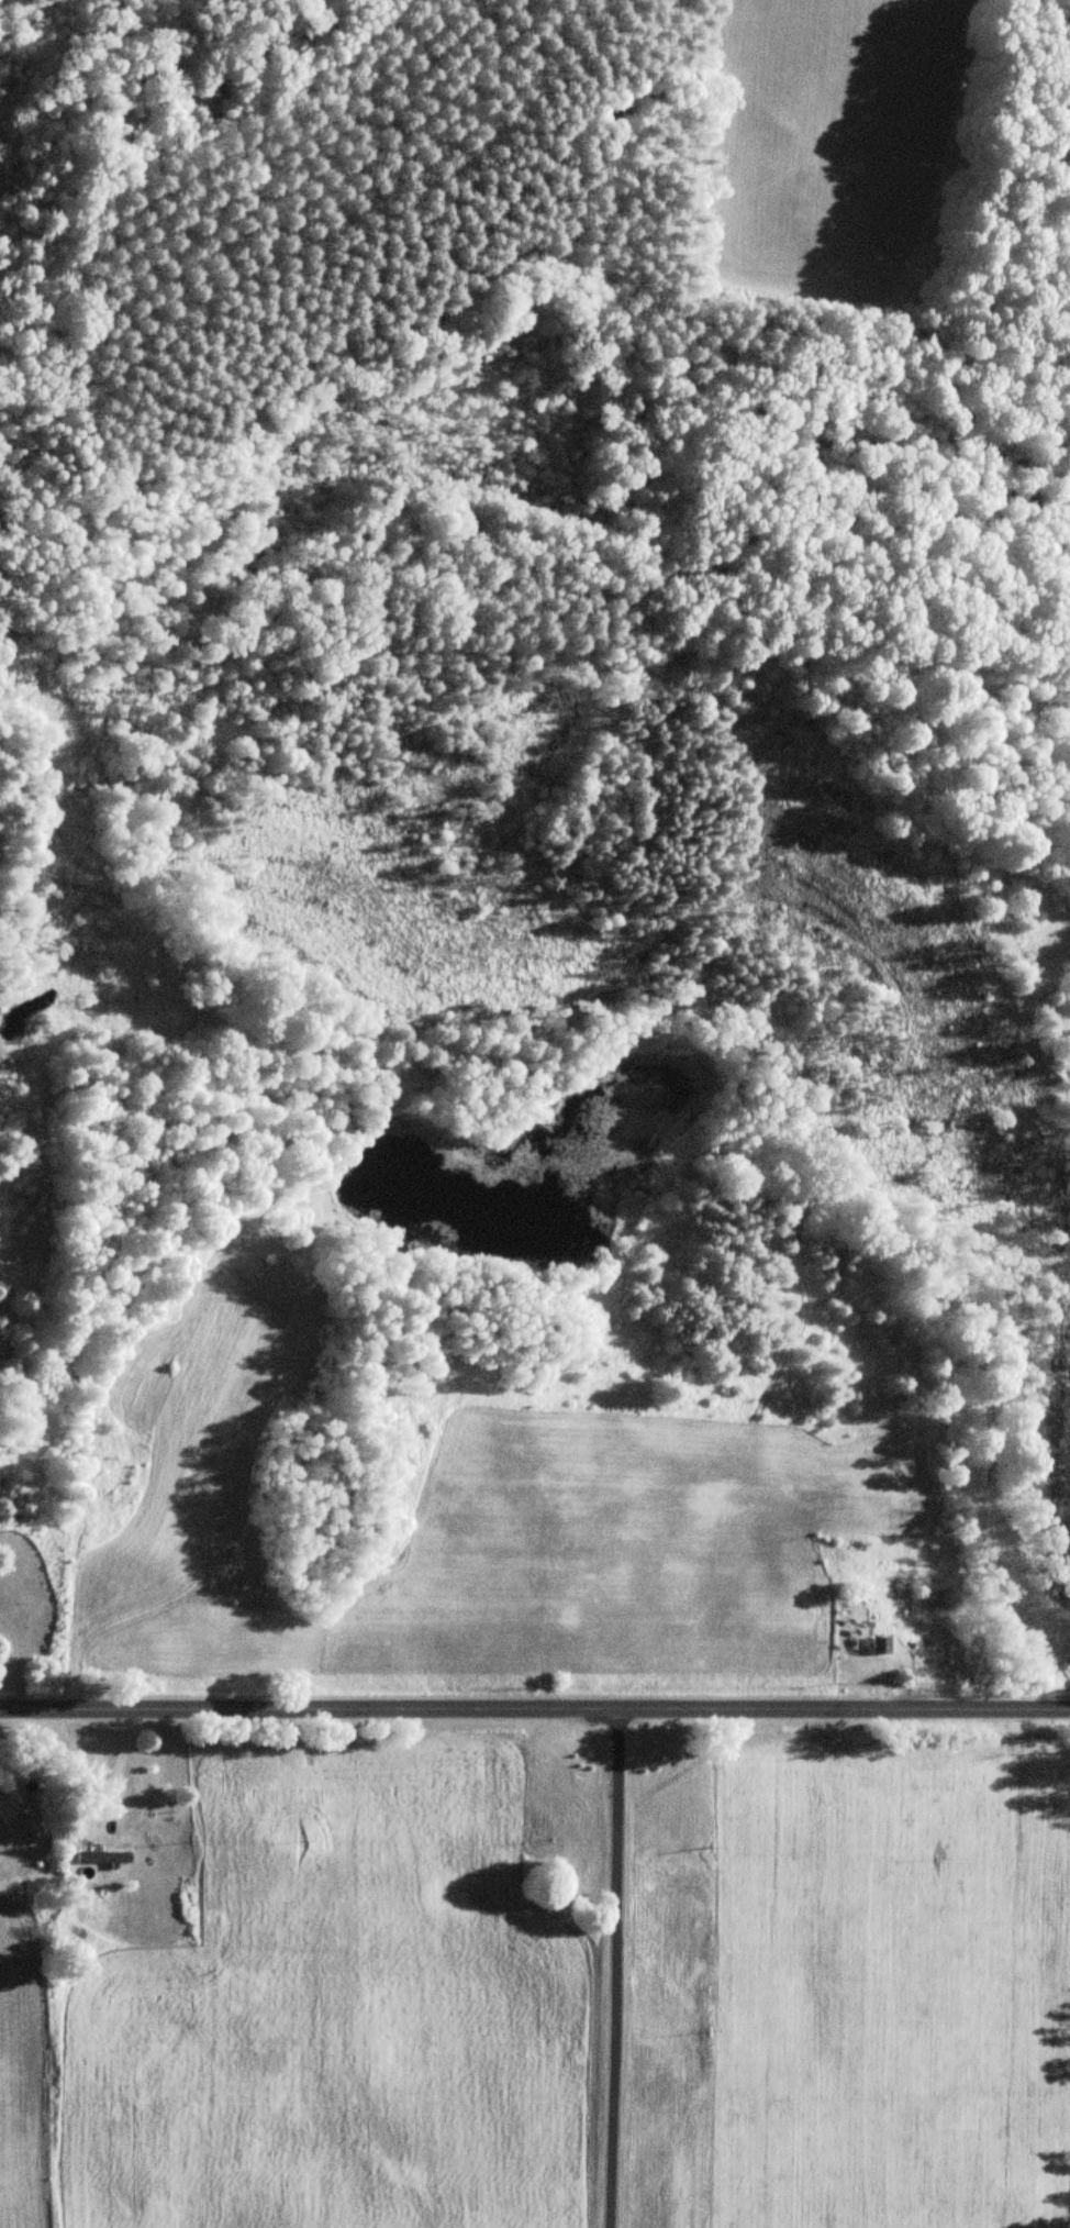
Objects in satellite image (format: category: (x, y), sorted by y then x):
building: (882, 1645)
road: (535, 1709)
building: (8, 1800)
building: (584, 1809)
building: (105, 1856)
building: (654, 1943)

